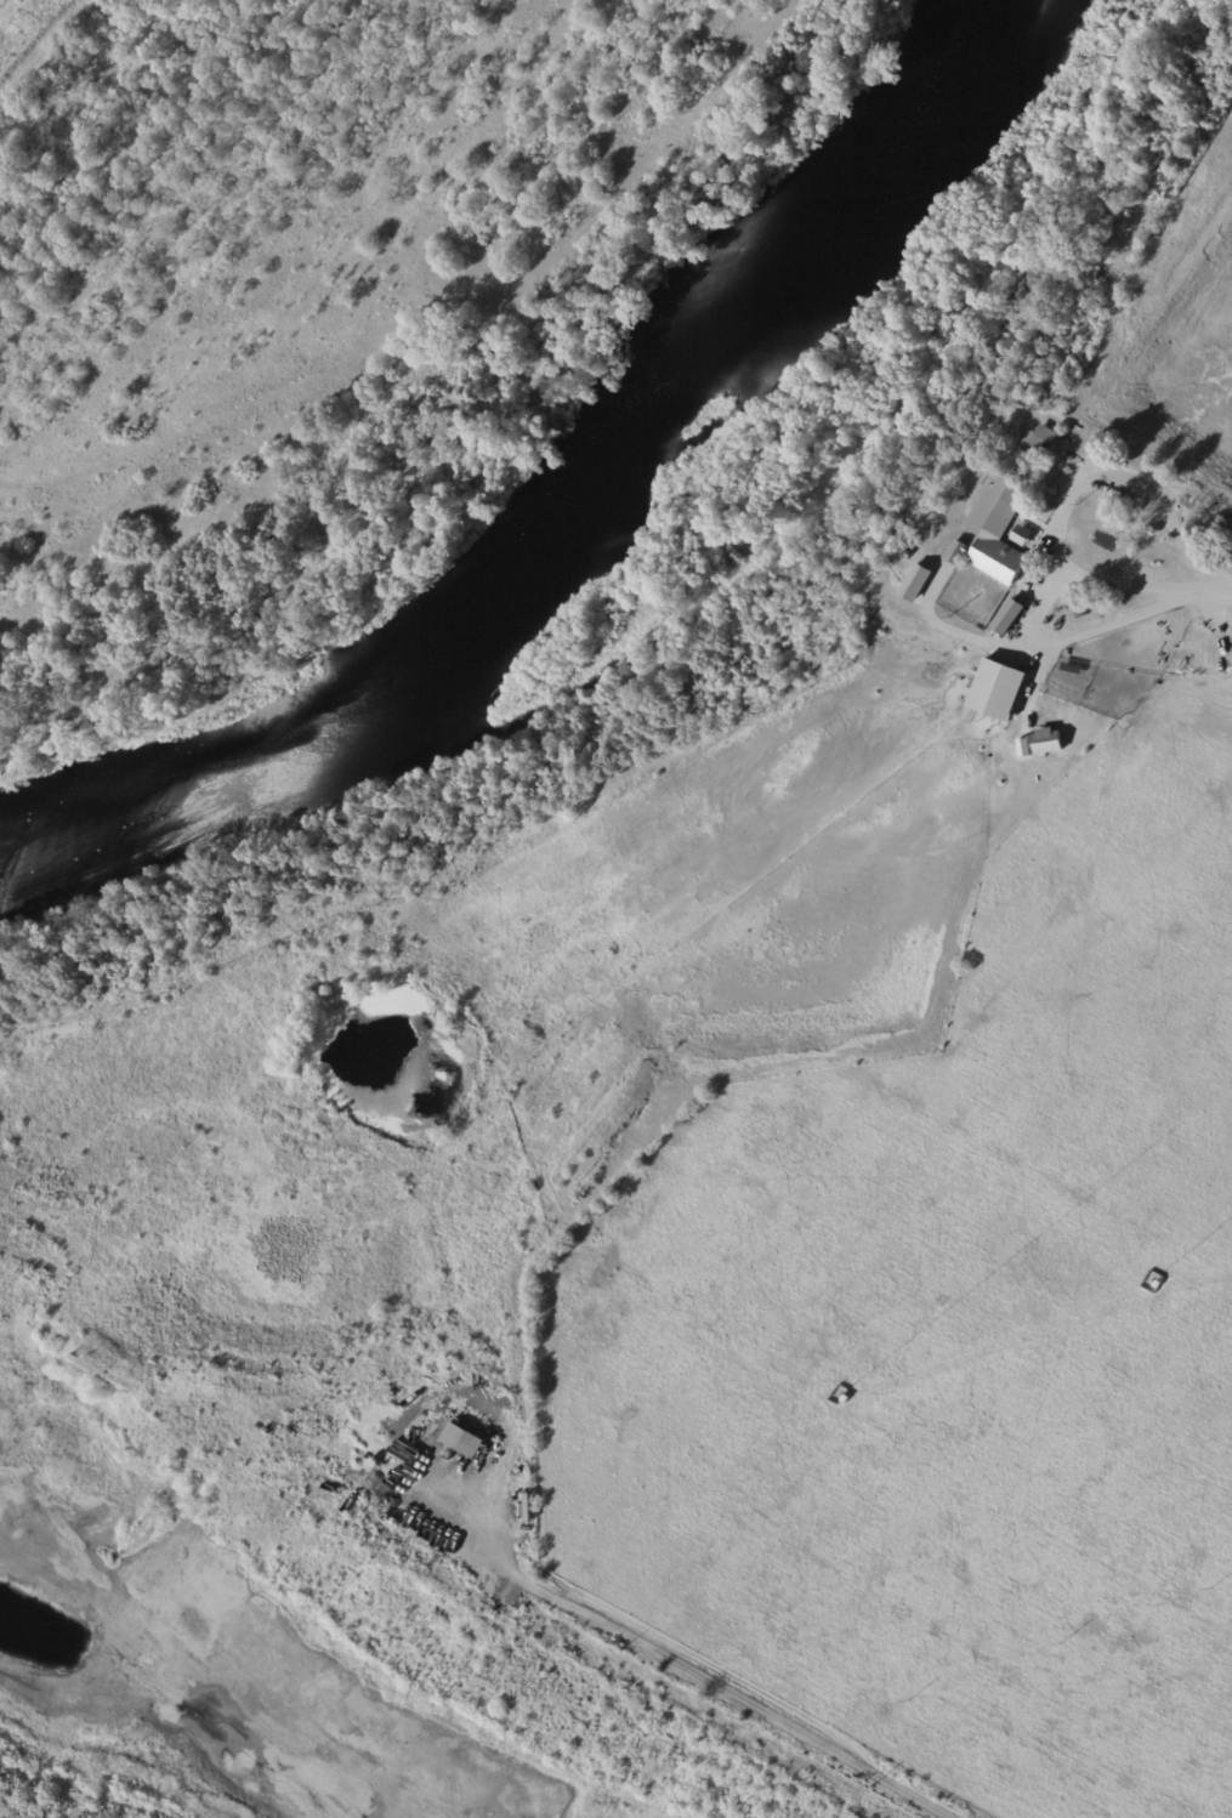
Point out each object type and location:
building: (1031, 403)
building: (1038, 441)
building: (1094, 444)
building: (1058, 470)
building: (1181, 496)
river: (562, 513)
building: (1202, 530)
building: (994, 533)
building: (1022, 535)
building: (912, 545)
building: (1231, 567)
road: (1055, 574)
road: (1135, 584)
road: (1224, 591)
building: (1009, 617)
building: (997, 688)
building: (1046, 740)
building: (1158, 1284)
building: (846, 1398)
building: (464, 1439)
road: (711, 1711)
road: (4, 1816)

